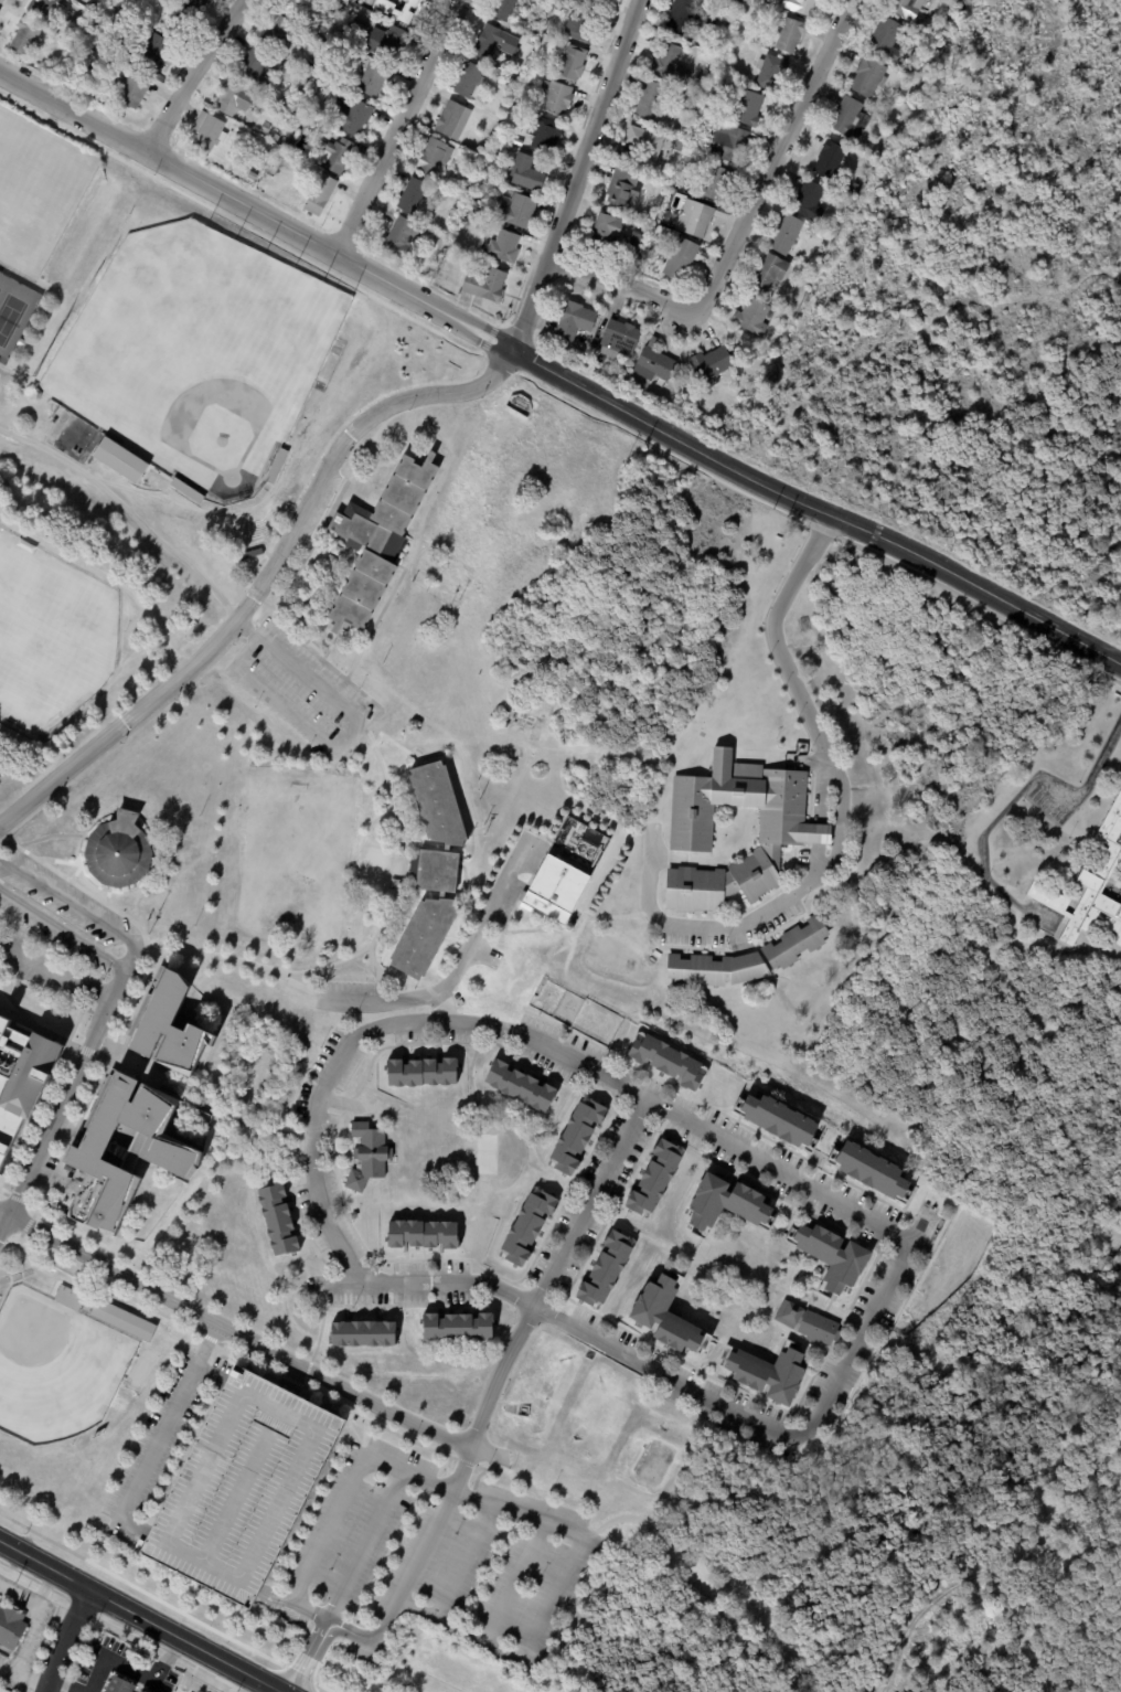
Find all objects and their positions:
building: (772, 1)
building: (599, 2)
building: (199, 3)
building: (346, 3)
building: (93, 6)
building: (803, 7)
building: (44, 9)
building: (305, 9)
building: (503, 9)
building: (907, 9)
building: (409, 12)
building: (353, 15)
building: (682, 15)
building: (180, 23)
building: (580, 25)
building: (535, 34)
building: (279, 35)
building: (790, 35)
building: (24, 39)
building: (342, 39)
building: (888, 41)
building: (386, 43)
building: (490, 44)
building: (153, 54)
building: (669, 63)
building: (573, 65)
building: (256, 67)
building: (522, 68)
building: (726, 70)
road: (191, 73)
building: (771, 73)
building: (869, 78)
building: (373, 79)
building: (317, 82)
building: (469, 82)
building: (511, 83)
building: (132, 92)
building: (557, 98)
building: (234, 99)
building: (650, 102)
building: (747, 108)
building: (305, 109)
building: (300, 120)
building: (357, 120)
building: (851, 120)
building: (453, 121)
road: (399, 126)
building: (688, 127)
building: (291, 131)
building: (209, 132)
building: (289, 136)
building: (275, 137)
building: (546, 137)
building: (285, 143)
building: (729, 145)
building: (321, 147)
building: (645, 148)
building: (681, 148)
building: (280, 151)
building: (433, 155)
building: (341, 156)
building: (626, 157)
building: (830, 162)
building: (527, 174)
road: (578, 178)
building: (714, 183)
building: (472, 189)
building: (622, 189)
building: (856, 190)
park: (36, 191)
building: (320, 196)
building: (414, 196)
building: (810, 202)
road: (257, 210)
building: (517, 212)
building: (452, 216)
building: (695, 221)
road: (736, 221)
building: (606, 234)
building: (787, 236)
building: (401, 240)
building: (441, 243)
building: (636, 243)
building: (502, 246)
building: (452, 259)
building: (682, 260)
building: (769, 274)
building: (807, 281)
building: (487, 287)
building: (805, 294)
building: (47, 312)
park: (13, 313)
building: (754, 319)
building: (575, 322)
building: (604, 327)
building: (620, 341)
building: (21, 344)
park: (193, 358)
building: (599, 360)
building: (654, 364)
building: (711, 368)
building: (626, 370)
building: (32, 385)
building: (685, 394)
building: (120, 461)
building: (277, 467)
building: (186, 492)
road: (816, 512)
building: (376, 540)
building: (254, 554)
road: (307, 556)
road: (263, 583)
road: (244, 629)
road: (249, 631)
park: (50, 636)
parking lot: (295, 694)
road: (121, 738)
road: (387, 739)
road: (337, 744)
road: (1013, 797)
building: (792, 834)
road: (841, 840)
building: (398, 851)
building: (114, 853)
building: (162, 858)
building: (428, 869)
building: (563, 872)
building: (395, 884)
building: (1090, 888)
building: (391, 894)
parking lot: (63, 906)
road: (77, 908)
road: (63, 930)
road: (370, 944)
building: (744, 960)
road: (374, 964)
parking lot: (43, 966)
road: (452, 969)
road: (56, 972)
parking lot: (353, 987)
road: (440, 1008)
road: (19, 1010)
building: (183, 1026)
road: (38, 1031)
road: (85, 1053)
building: (666, 1062)
road: (124, 1071)
building: (420, 1073)
building: (21, 1076)
building: (517, 1086)
road: (62, 1102)
road: (669, 1113)
road: (228, 1120)
building: (777, 1120)
parking lot: (709, 1131)
building: (575, 1135)
building: (181, 1151)
building: (365, 1158)
building: (869, 1170)
building: (652, 1179)
parking lot: (589, 1202)
building: (724, 1203)
building: (277, 1221)
building: (529, 1232)
building: (421, 1234)
building: (831, 1257)
road: (1118, 1257)
road: (549, 1269)
building: (604, 1270)
building: (68, 1298)
building: (663, 1316)
building: (124, 1321)
building: (804, 1323)
parking lot: (865, 1326)
building: (457, 1327)
road: (317, 1333)
building: (362, 1333)
road: (249, 1344)
park: (54, 1368)
building: (767, 1373)
parking lot: (685, 1376)
road: (171, 1423)
parking lot: (166, 1429)
road: (376, 1456)
building: (244, 1486)
parking lot: (239, 1487)
road: (362, 1545)
road: (468, 1561)
parking lot: (430, 1562)
road: (708, 1579)
road: (513, 1581)
road: (33, 1600)
road: (143, 1616)
building: (11, 1627)
road: (28, 1634)
road: (63, 1639)
road: (305, 1657)
road: (117, 1659)
road: (23, 1672)
building: (119, 1685)
building: (139, 1691)
road: (285, 1691)

